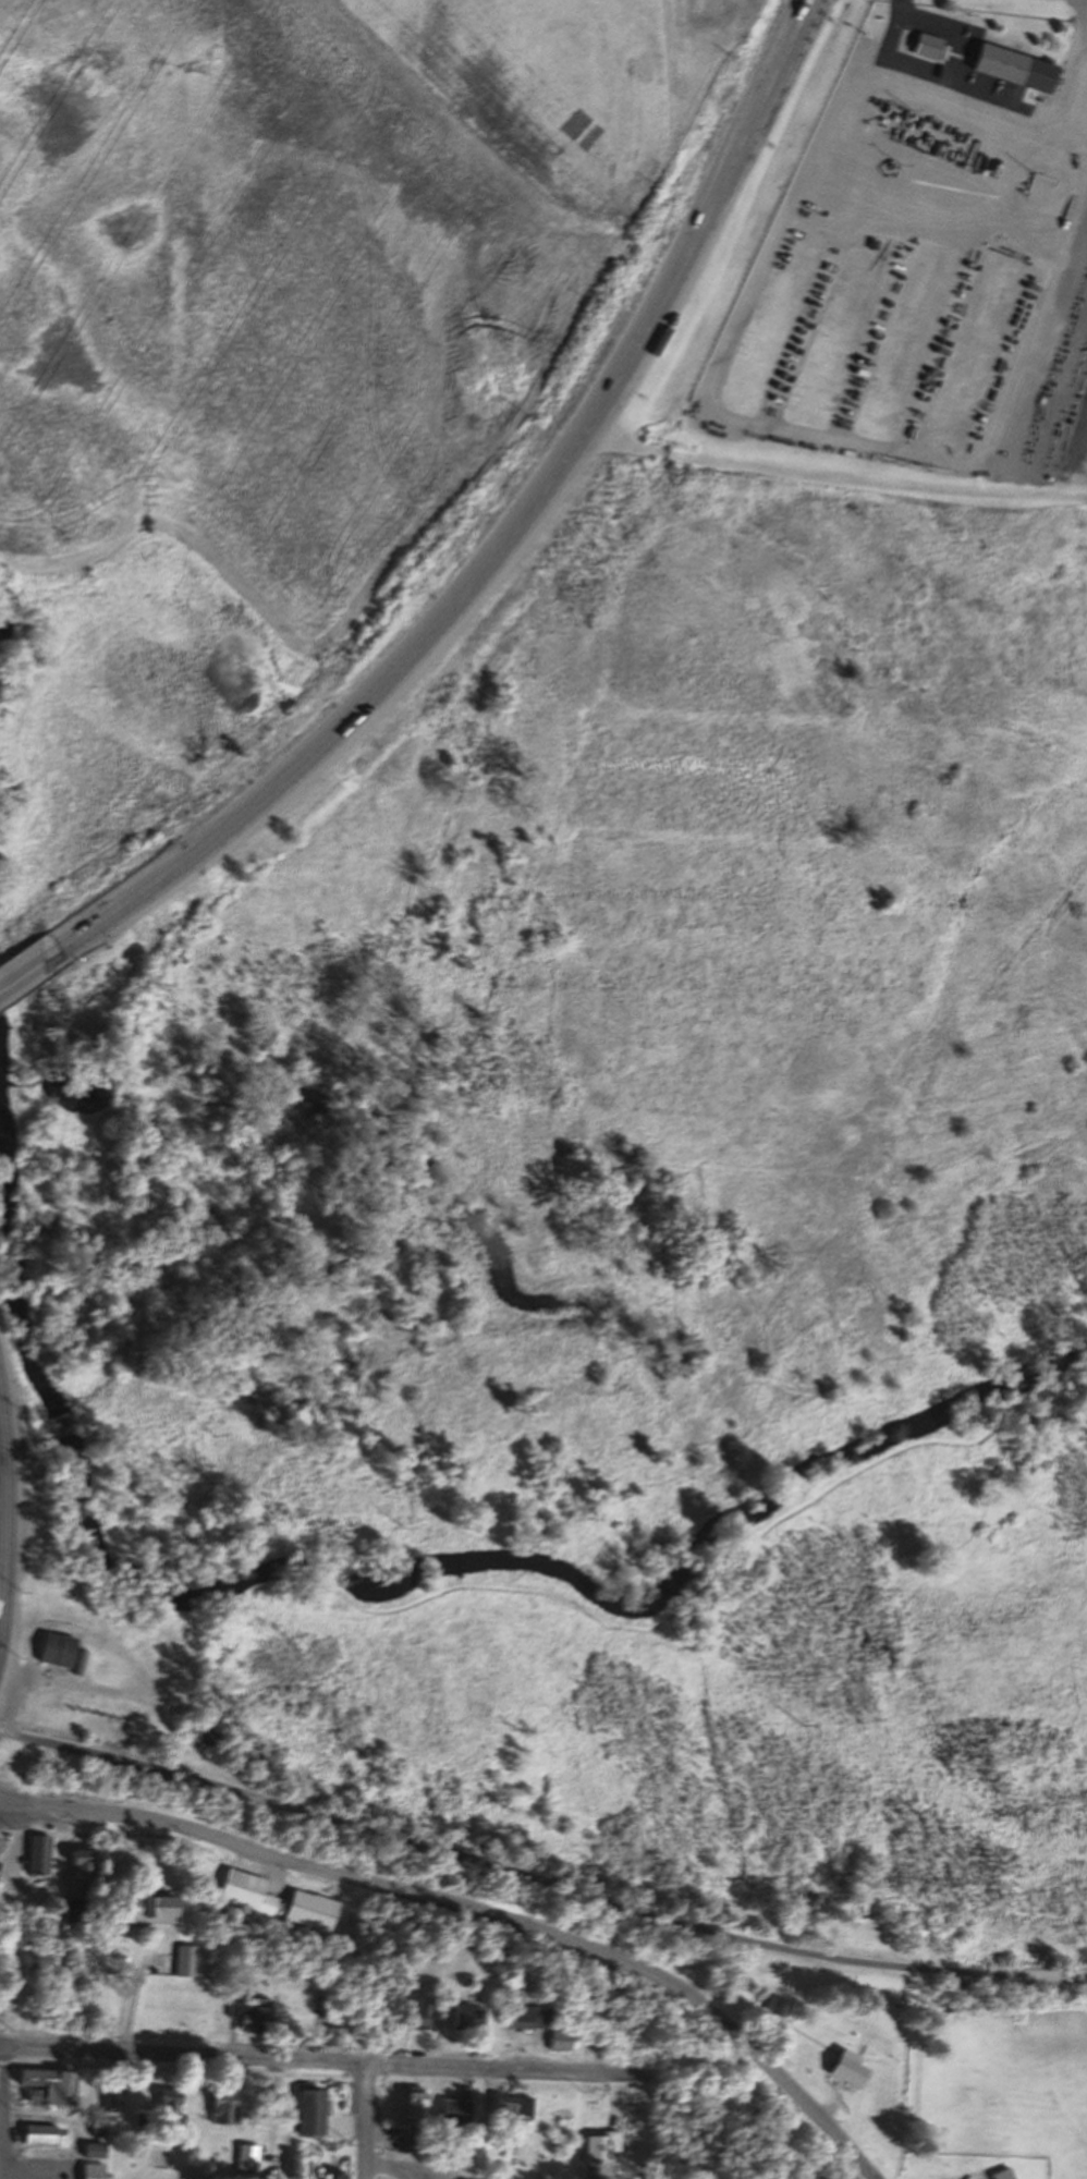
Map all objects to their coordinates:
road: (892, 29)
building: (924, 45)
building: (1009, 68)
road: (1071, 74)
road: (835, 477)
road: (505, 547)
road: (19, 971)
road: (2, 1442)
road: (4, 1522)
road: (618, 1621)
building: (52, 1648)
road: (137, 1669)
building: (196, 1733)
building: (39, 1854)
building: (82, 1862)
road: (537, 1883)
building: (246, 1891)
building: (72, 1903)
building: (146, 1909)
building: (310, 1910)
road: (477, 1912)
building: (183, 1959)
road: (134, 1991)
building: (779, 2008)
building: (415, 2012)
building: (249, 2016)
building: (463, 2017)
building: (525, 2017)
building: (331, 2037)
building: (555, 2040)
road: (317, 2061)
building: (845, 2068)
road: (183, 2069)
building: (50, 2084)
building: (110, 2099)
building: (414, 2103)
building: (170, 2105)
building: (223, 2107)
building: (455, 2107)
building: (511, 2107)
building: (308, 2111)
road: (1, 2113)
road: (365, 2121)
building: (38, 2132)
building: (595, 2145)
building: (94, 2148)
building: (247, 2156)
parking lot: (430, 2166)
building: (93, 2170)
building: (1003, 2174)

